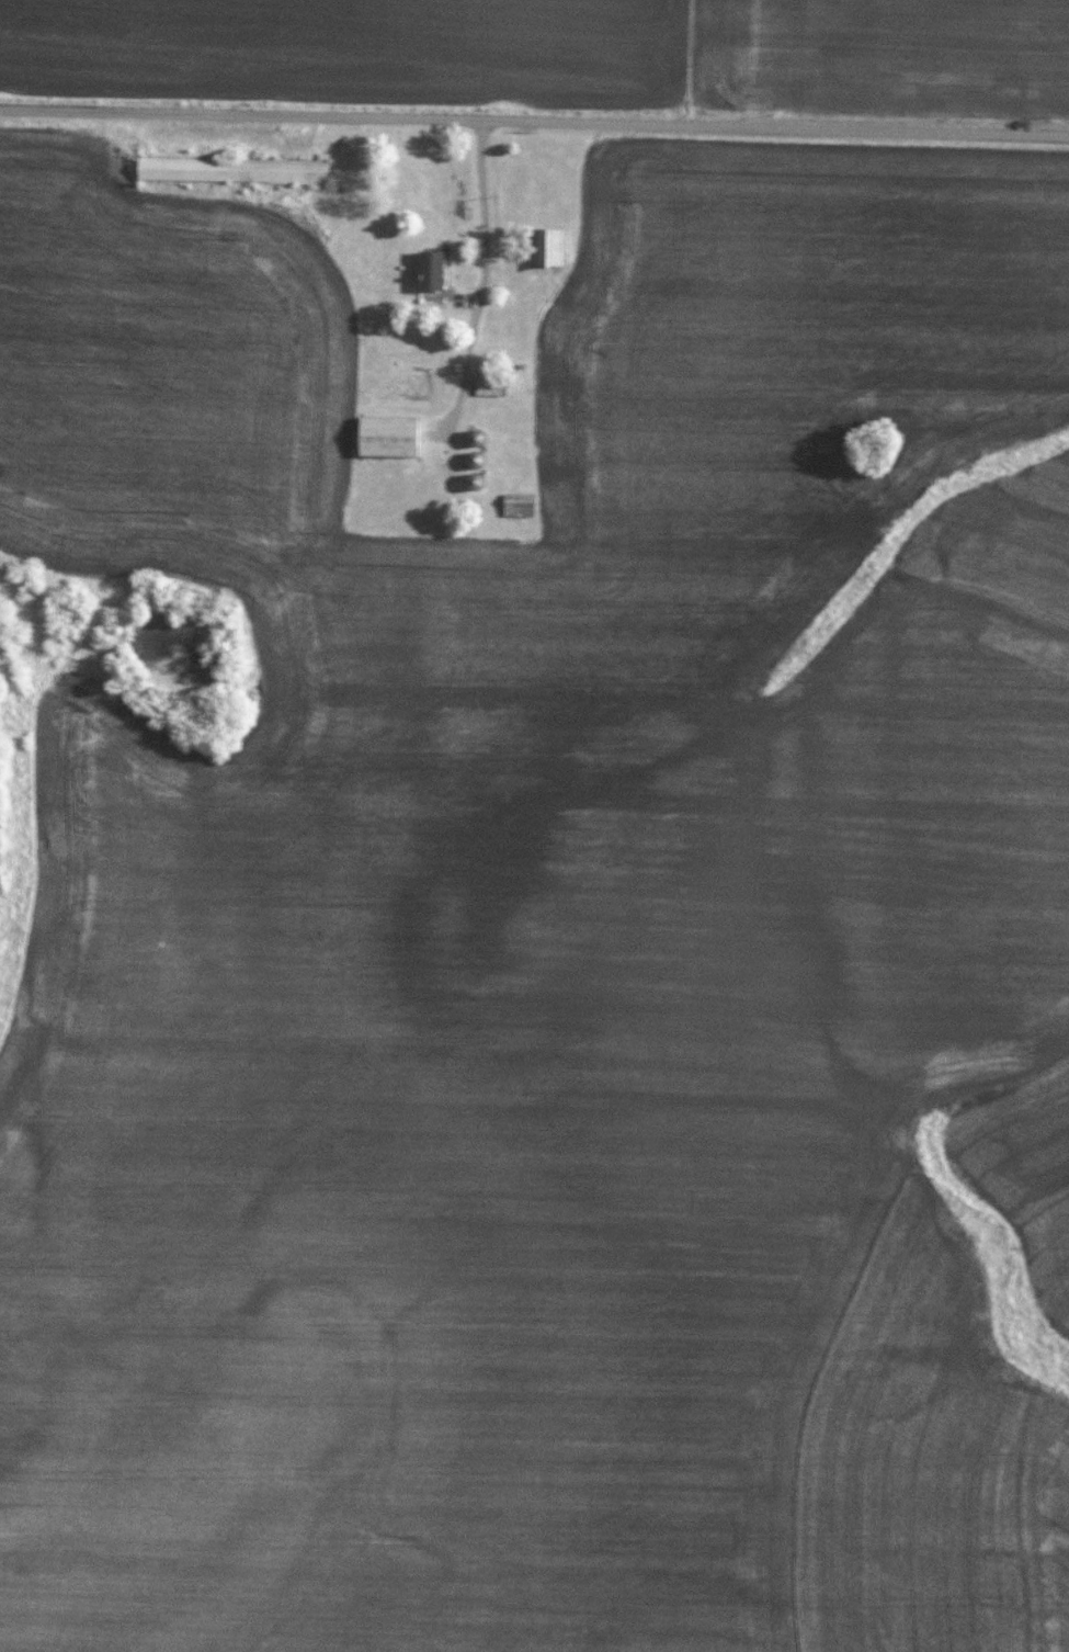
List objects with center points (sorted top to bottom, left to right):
road: (534, 120)
building: (234, 169)
road: (485, 213)
building: (546, 248)
building: (431, 270)
building: (488, 384)
building: (388, 437)
building: (475, 438)
building: (518, 503)

